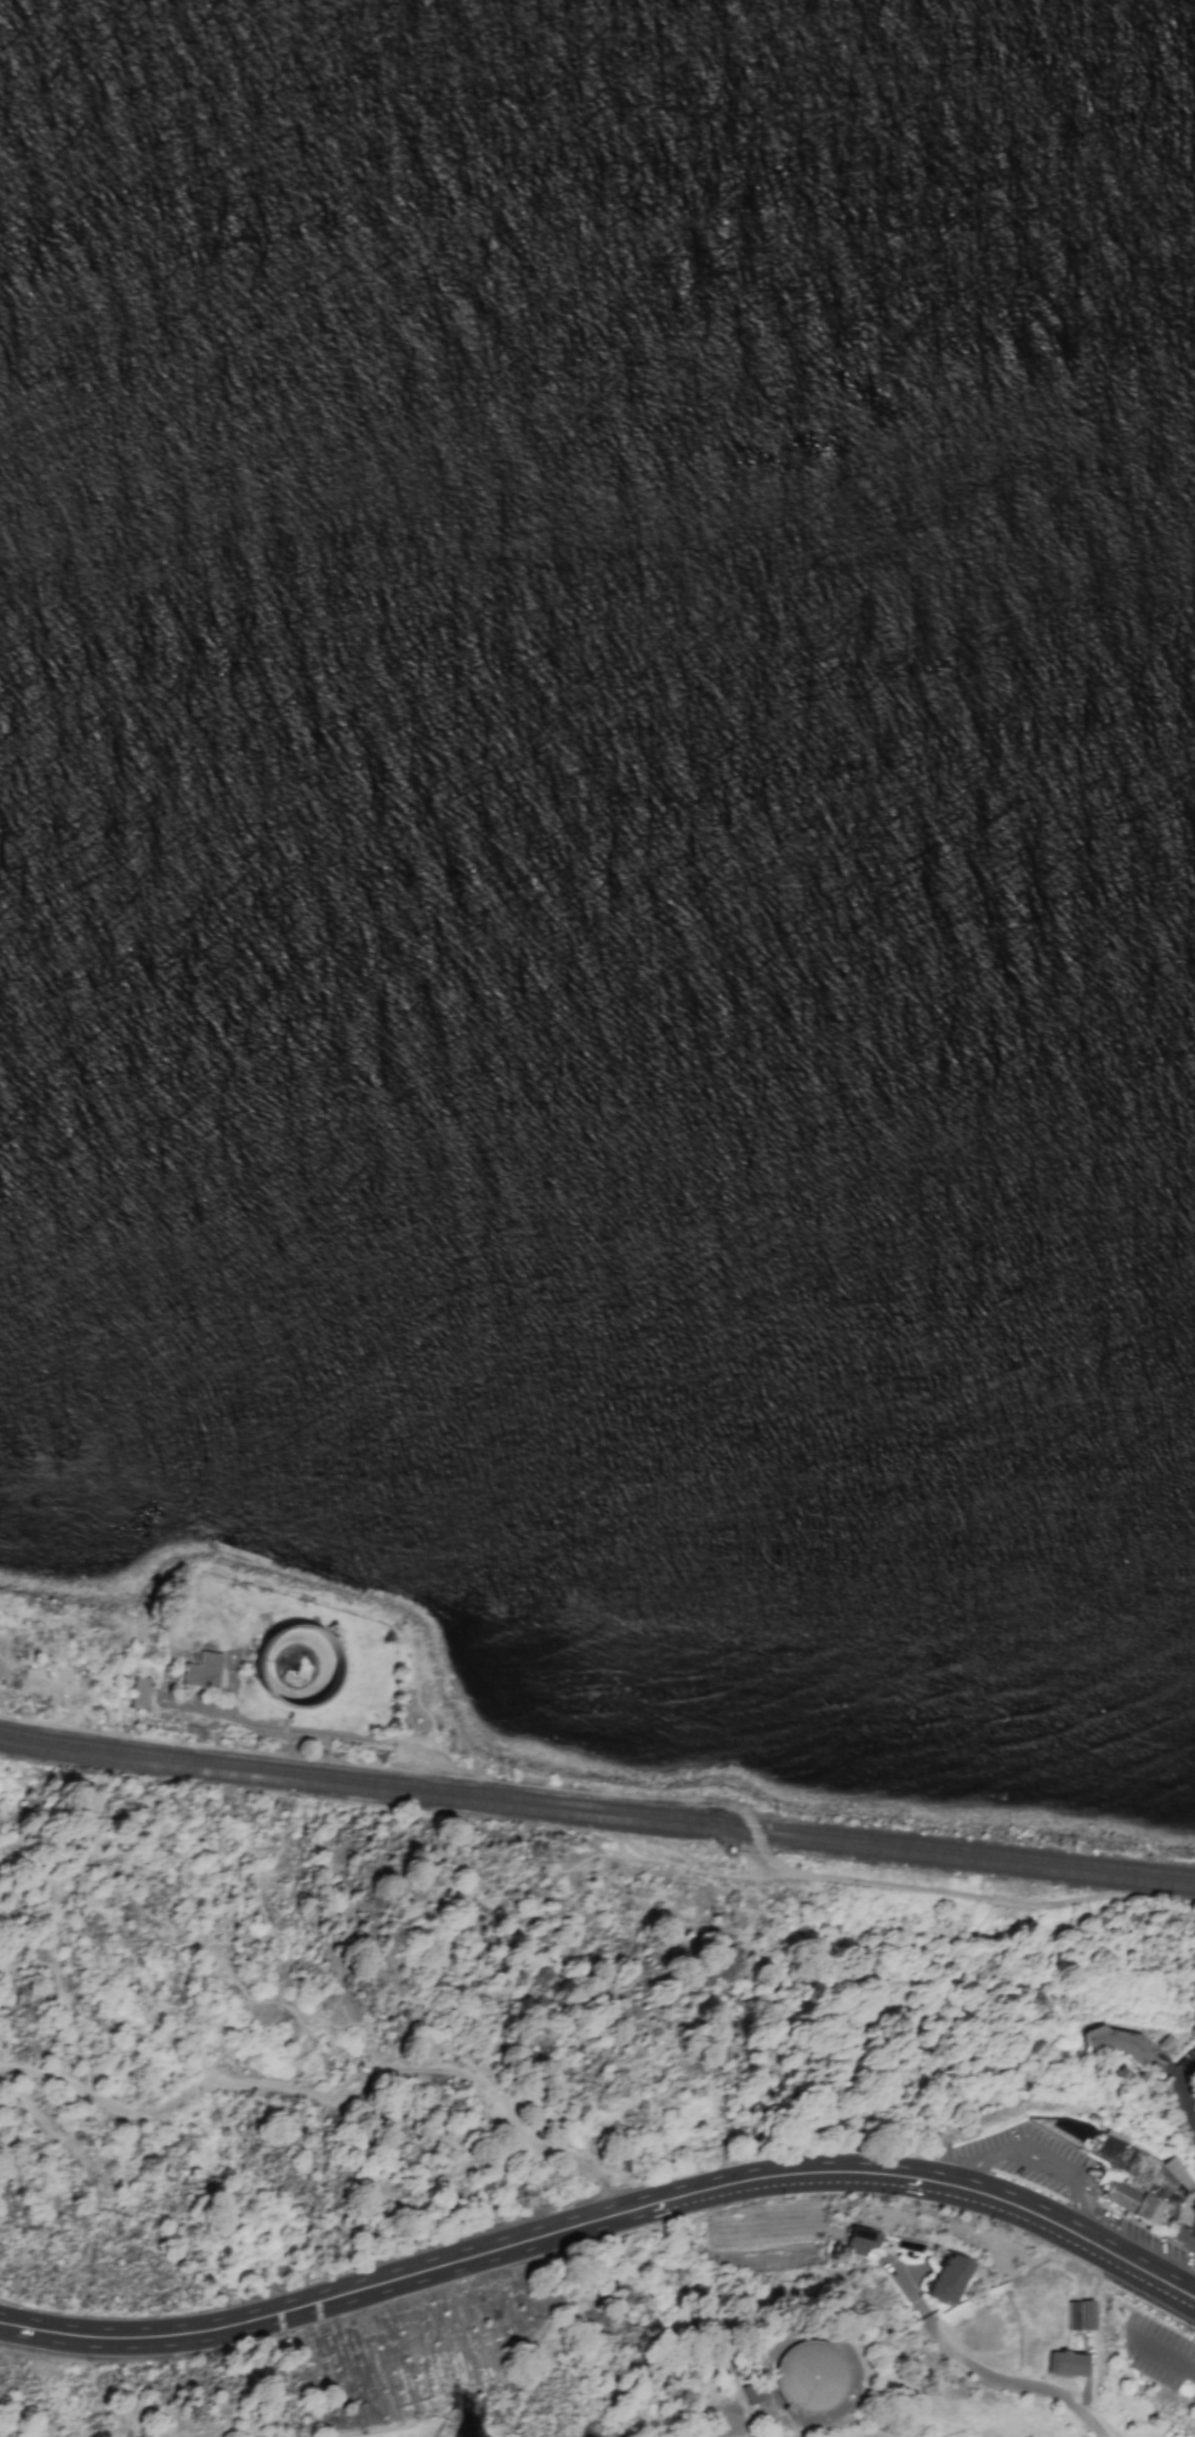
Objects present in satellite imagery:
building: (295, 1668)
building: (204, 1669)
building: (138, 1693)
road: (668, 1802)
railway: (597, 1808)
railway: (597, 1818)
road: (1190, 2053)
road: (235, 2084)
road: (1180, 2089)
road: (1029, 2147)
building: (1123, 2172)
road: (604, 2217)
road: (1193, 2227)
building: (1176, 2233)
building: (859, 2240)
building: (945, 2279)
road: (1193, 2291)
building: (1086, 2316)
parking lot: (1160, 2354)
road: (1163, 2356)
building: (1065, 2364)
building: (812, 2376)
road: (995, 2378)

